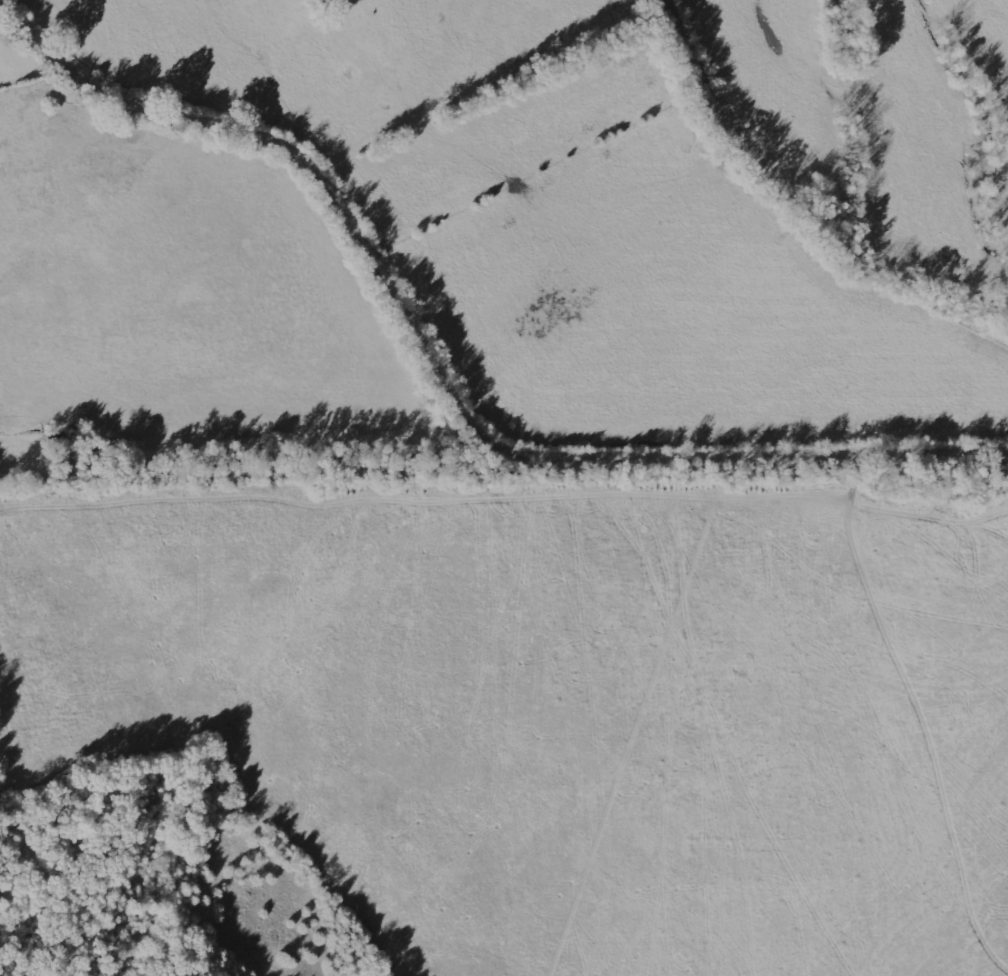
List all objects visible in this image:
road: (441, 374)

